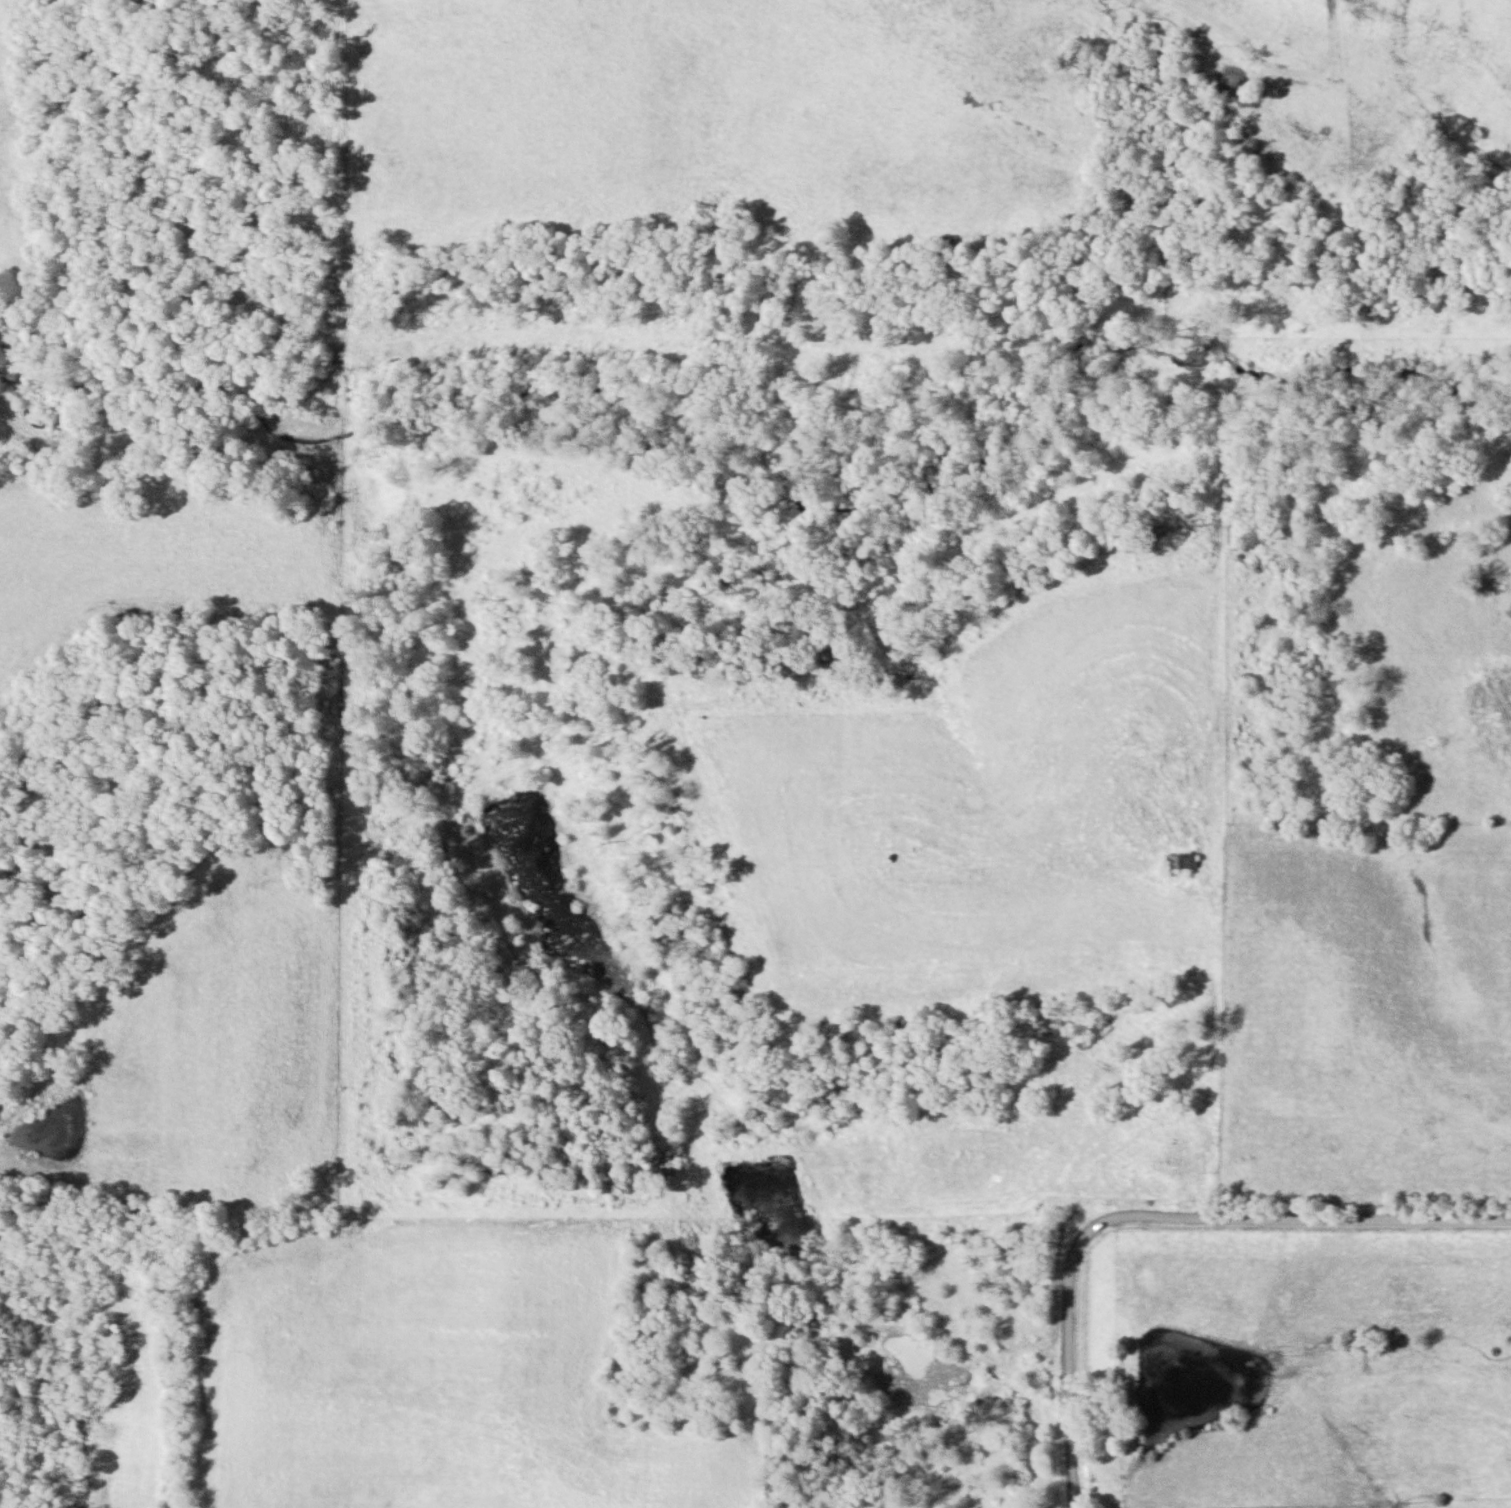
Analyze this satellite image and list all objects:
building: (1181, 861)
road: (1162, 1220)

